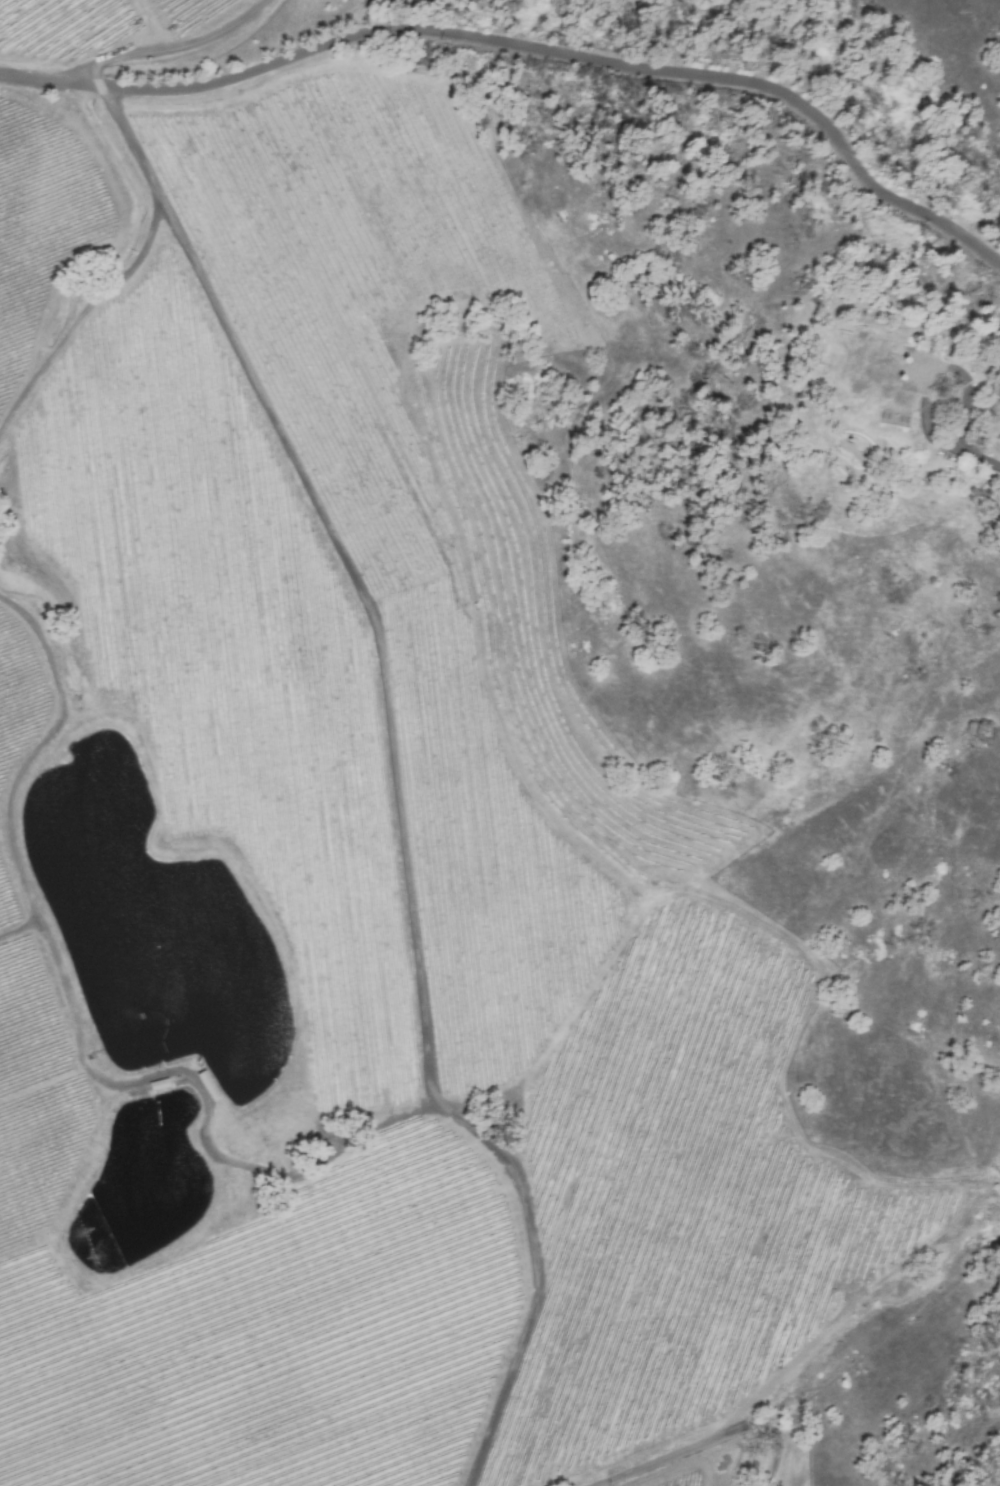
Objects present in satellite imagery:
road: (577, 56)
road: (50, 80)
road: (936, 368)
road: (979, 455)
road: (384, 673)
road: (707, 1439)

